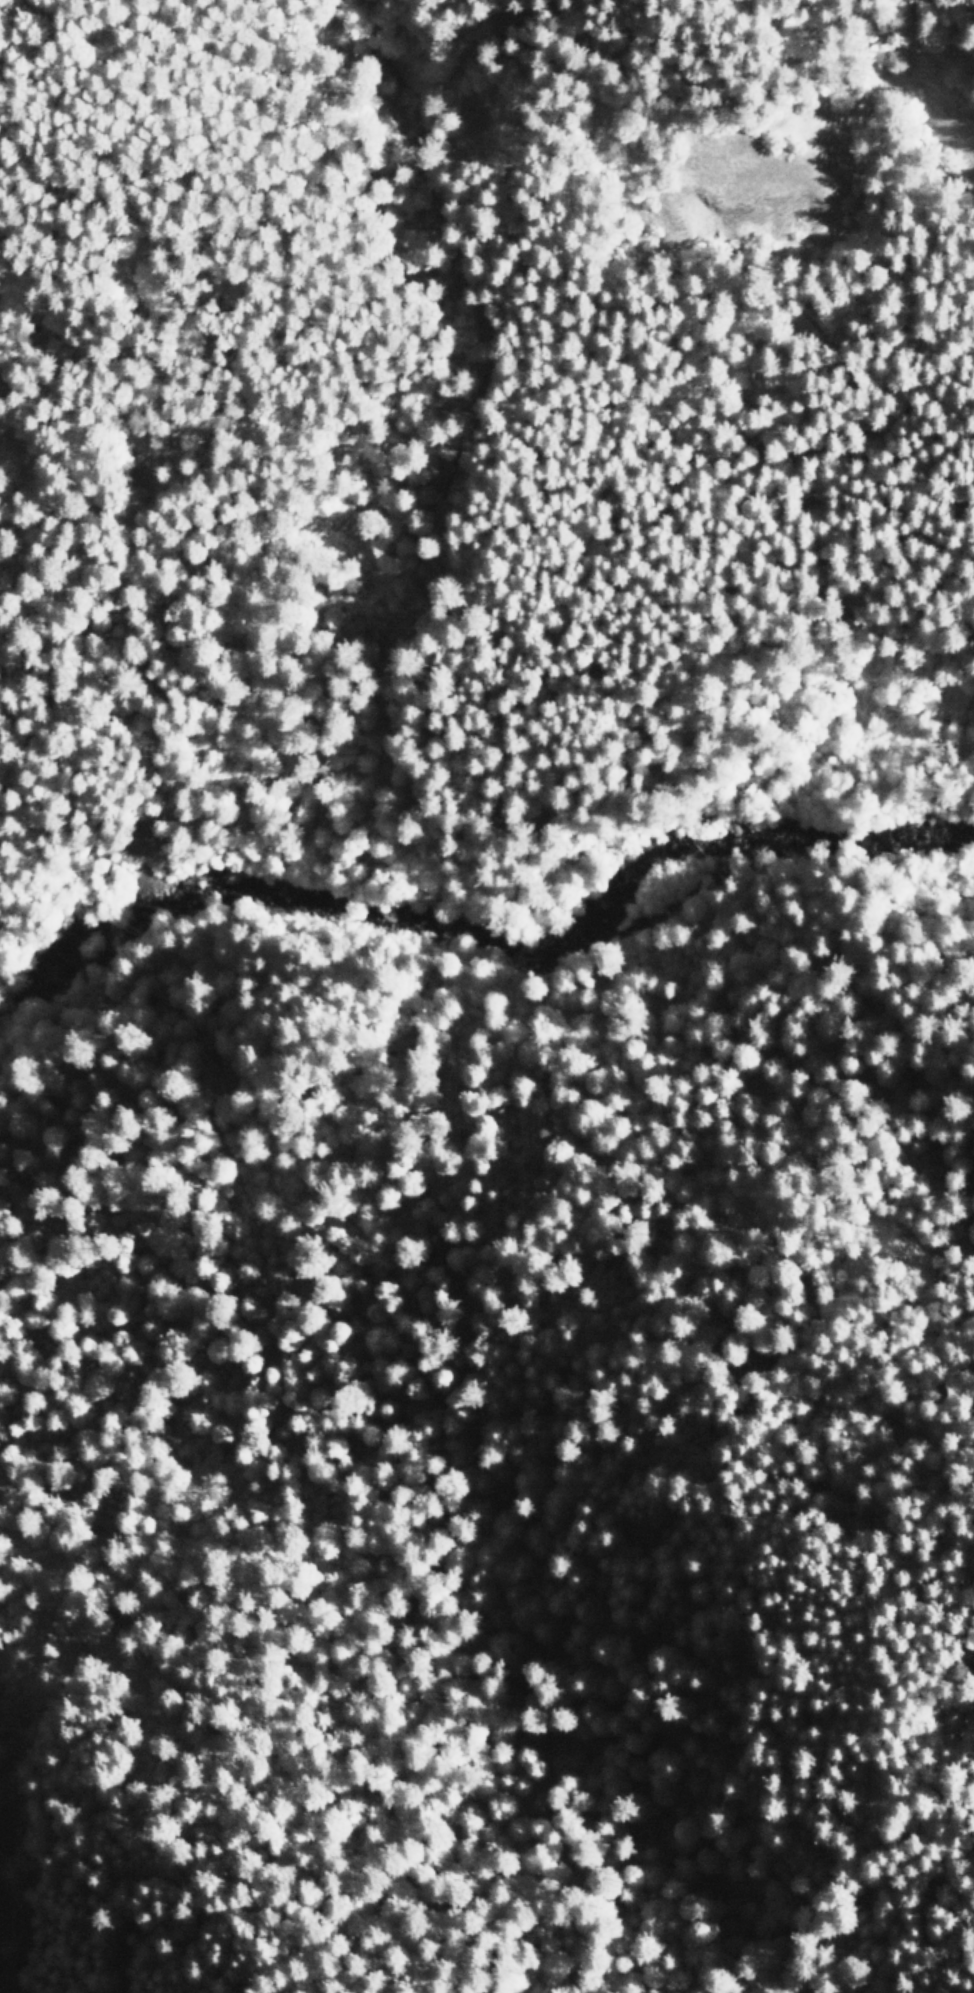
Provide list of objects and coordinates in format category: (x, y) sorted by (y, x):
river: (484, 952)

